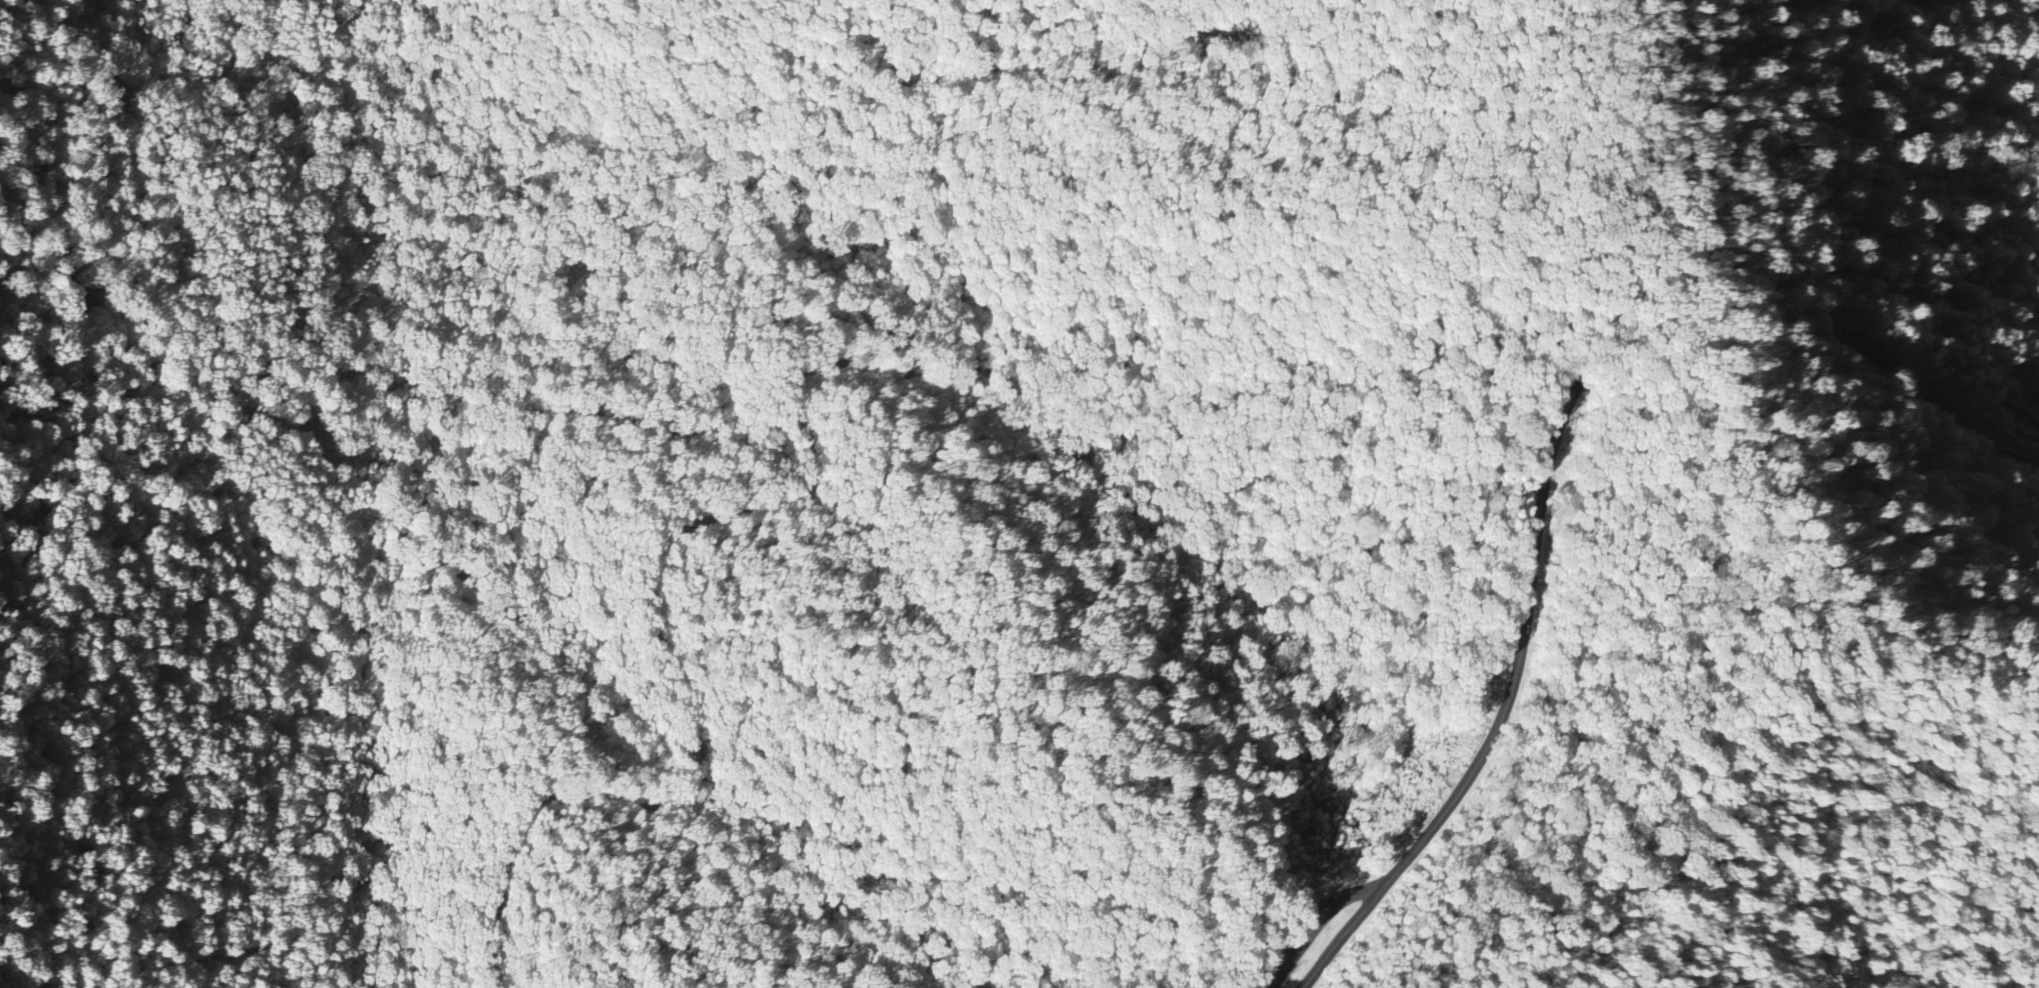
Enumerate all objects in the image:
road: (727, 329)
road: (1972, 426)
road: (1482, 759)
road: (1838, 866)
road: (1312, 914)
parking lot: (1313, 914)

